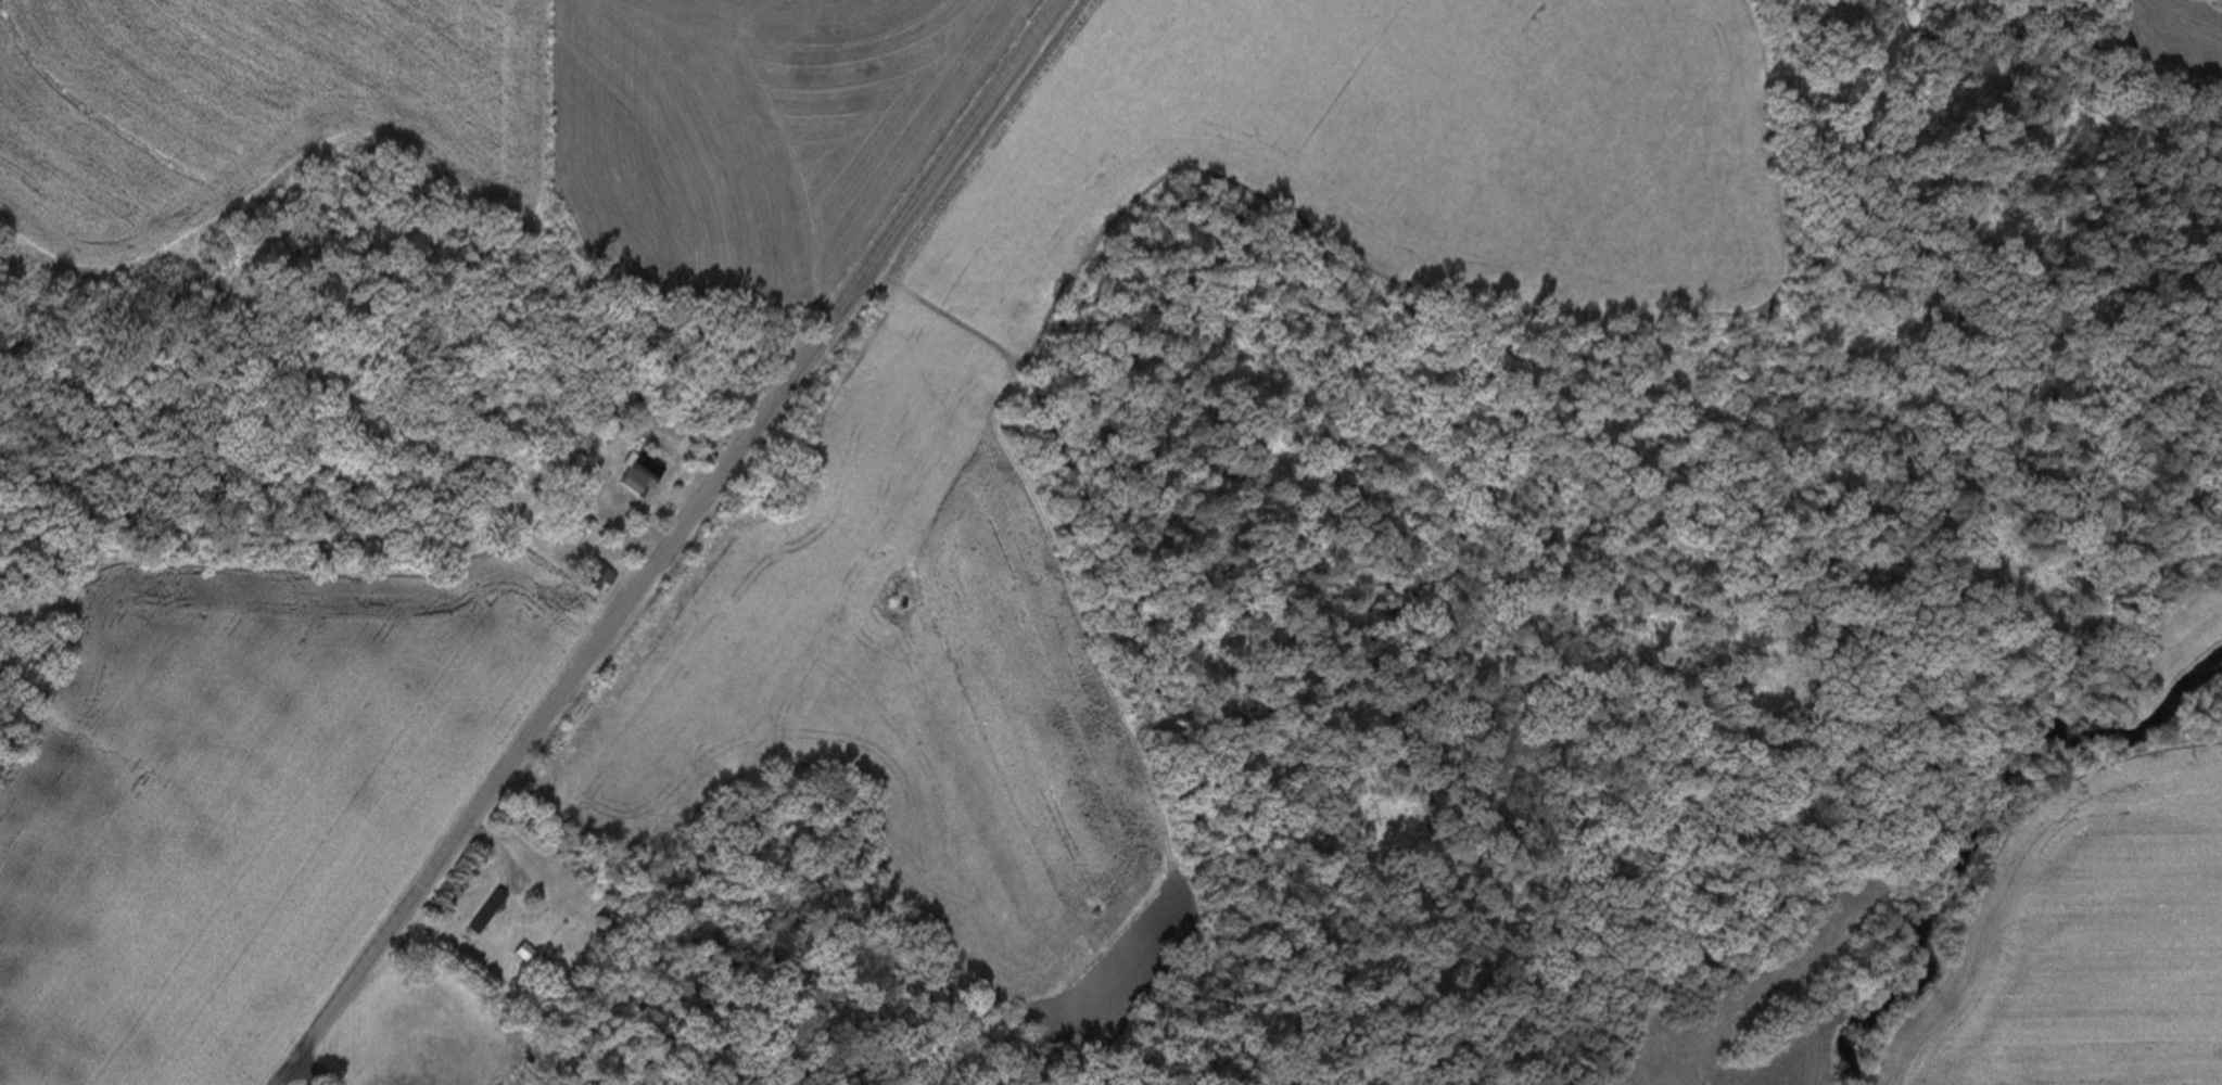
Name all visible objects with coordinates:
building: (644, 476)
road: (673, 542)
building: (601, 574)
building: (493, 912)

